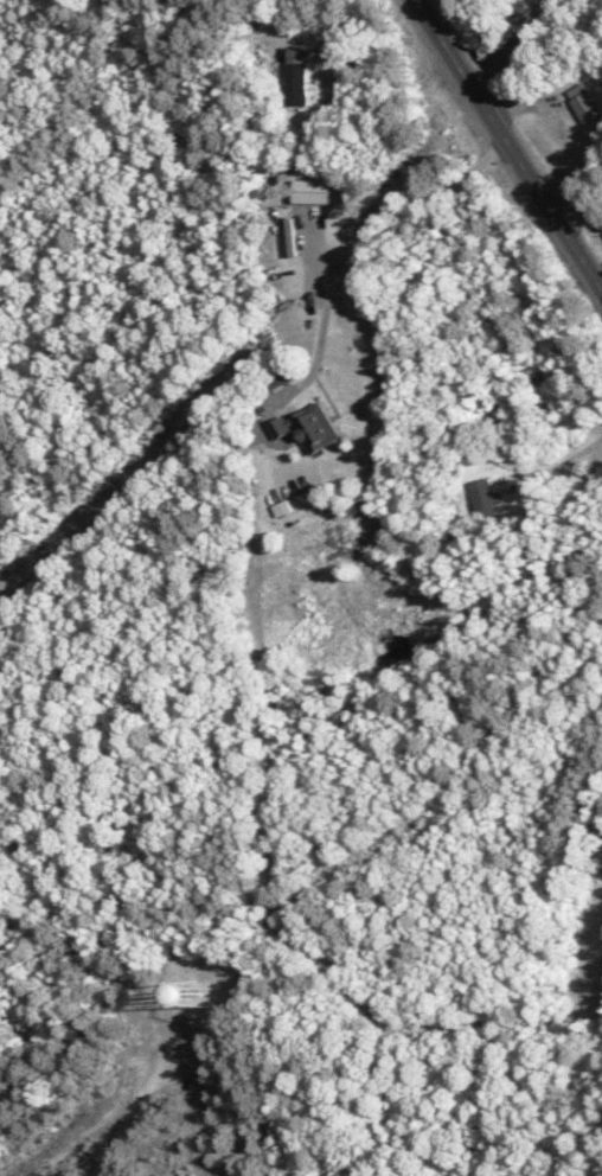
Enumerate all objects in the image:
road: (276, 32)
building: (296, 78)
building: (585, 104)
road: (508, 148)
building: (312, 190)
road: (351, 260)
building: (309, 424)
road: (551, 466)
building: (481, 498)
building: (457, 535)
park: (405, 592)
road: (136, 1099)

